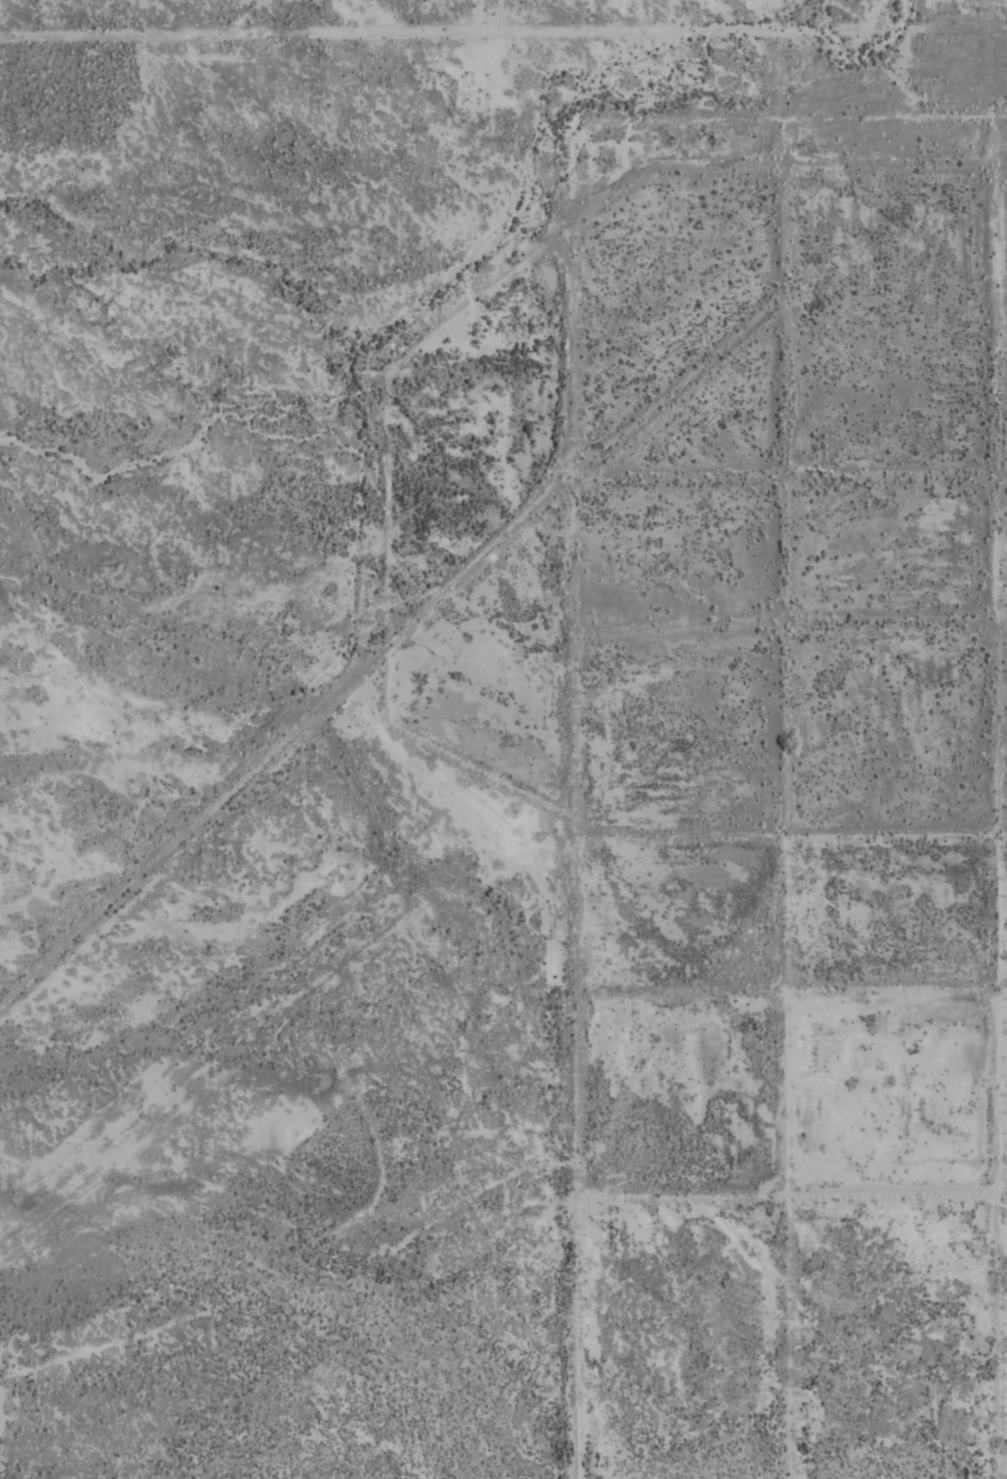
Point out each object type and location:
railway: (699, 462)
railway: (694, 471)

